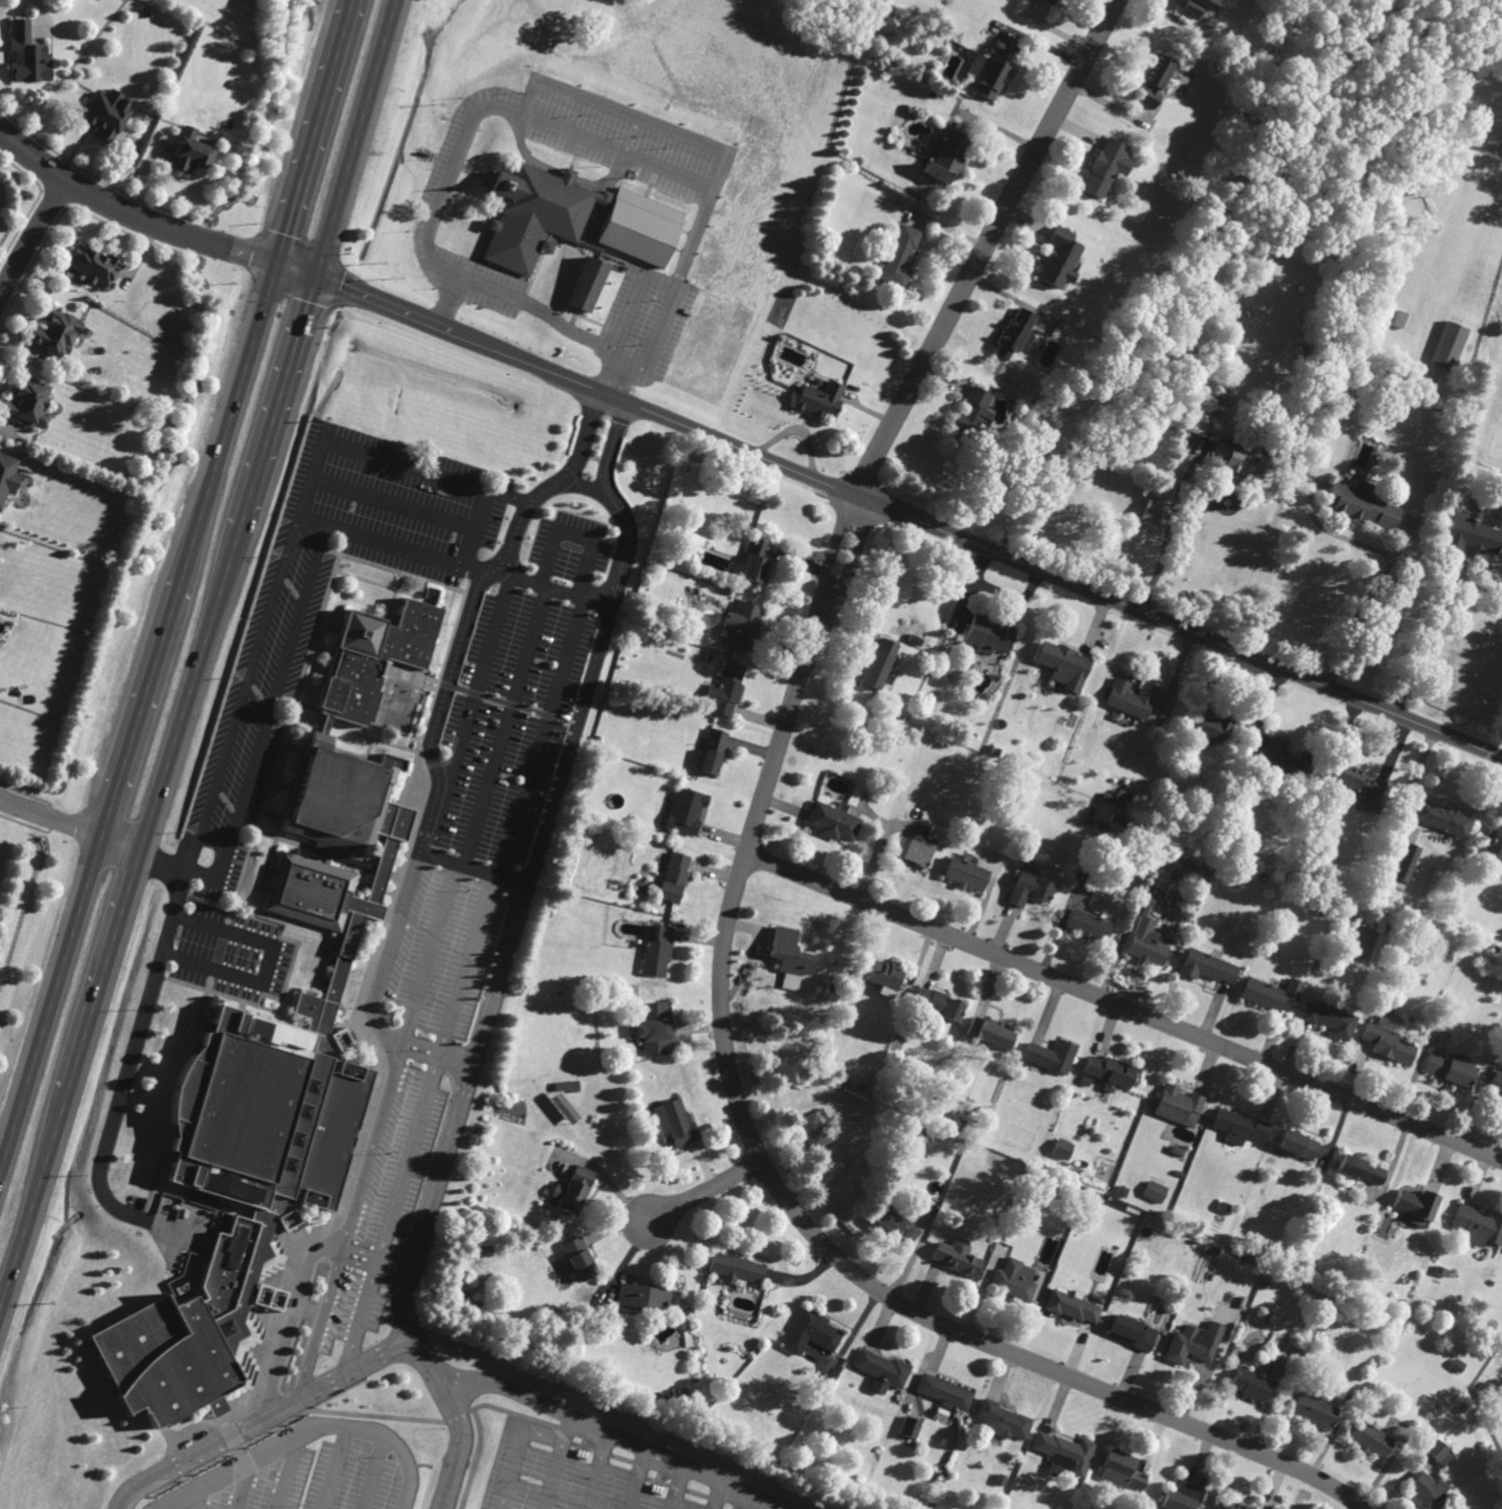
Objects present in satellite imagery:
building: (1051, 1)
building: (1197, 7)
building: (28, 54)
building: (989, 71)
building: (1155, 80)
building: (107, 113)
road: (553, 125)
building: (190, 151)
building: (949, 156)
building: (1106, 167)
road: (129, 214)
building: (573, 219)
road: (34, 241)
road: (988, 247)
building: (901, 256)
building: (1060, 258)
building: (94, 265)
traffic signals: (276, 265)
traffic signals: (315, 277)
road: (669, 283)
building: (587, 284)
road: (517, 297)
building: (56, 333)
building: (1015, 333)
building: (1449, 346)
road: (613, 379)
building: (819, 400)
building: (28, 403)
building: (974, 413)
road: (373, 455)
building: (1243, 458)
building: (8, 476)
road: (586, 487)
road: (547, 491)
road: (394, 501)
road: (616, 502)
building: (1360, 504)
road: (890, 508)
building: (1152, 510)
building: (1472, 535)
road: (1166, 538)
road: (832, 553)
road: (853, 558)
building: (759, 560)
road: (1385, 571)
road: (180, 583)
road: (276, 584)
road: (554, 587)
building: (745, 617)
building: (989, 635)
road: (1421, 640)
road: (201, 652)
building: (878, 664)
building: (1064, 665)
road: (284, 669)
road: (476, 682)
building: (727, 689)
building: (1132, 698)
road: (505, 722)
building: (1211, 726)
road: (543, 732)
building: (713, 751)
building: (1283, 760)
building: (1361, 786)
building: (687, 810)
road: (50, 817)
building: (1443, 818)
building: (834, 822)
road: (120, 842)
building: (1496, 844)
building: (916, 850)
road: (474, 861)
building: (1406, 862)
road: (223, 863)
building: (967, 873)
building: (674, 877)
building: (1030, 889)
road: (405, 896)
building: (1089, 926)
building: (1147, 934)
road: (434, 947)
building: (658, 952)
building: (790, 957)
road: (473, 959)
road: (266, 963)
building: (1209, 967)
building: (884, 977)
building: (1273, 994)
building: (939, 1004)
road: (1124, 1006)
building: (1331, 1020)
building: (655, 1027)
building: (991, 1032)
road: (428, 1043)
building: (1390, 1044)
building: (277, 1052)
building: (1052, 1056)
road: (130, 1062)
building: (1452, 1068)
building: (1110, 1072)
building: (1496, 1084)
building: (1179, 1106)
building: (675, 1122)
building: (1240, 1127)
building: (813, 1131)
building: (1298, 1144)
building: (1063, 1149)
road: (411, 1150)
building: (1362, 1169)
road: (441, 1173)
building: (573, 1190)
road: (620, 1191)
building: (1155, 1191)
road: (707, 1194)
building: (1418, 1205)
road: (801, 1218)
building: (897, 1225)
building: (1478, 1226)
road: (365, 1248)
building: (958, 1256)
building: (579, 1258)
building: (737, 1269)
building: (1015, 1279)
building: (642, 1297)
building: (1073, 1307)
road: (363, 1309)
road: (323, 1317)
building: (812, 1332)
building: (1134, 1332)
building: (1194, 1343)
building: (883, 1370)
road: (338, 1371)
building: (1251, 1384)
building: (1314, 1410)
road: (262, 1411)
building: (1004, 1421)
building: (911, 1427)
road: (303, 1428)
building: (1370, 1437)
road: (461, 1444)
building: (1065, 1452)
building: (1441, 1452)
road: (292, 1468)
road: (333, 1468)
building: (1122, 1471)
road: (376, 1472)
road: (246, 1485)
building: (1430, 1491)
road: (201, 1496)
building: (1182, 1496)
building: (1235, 1506)

